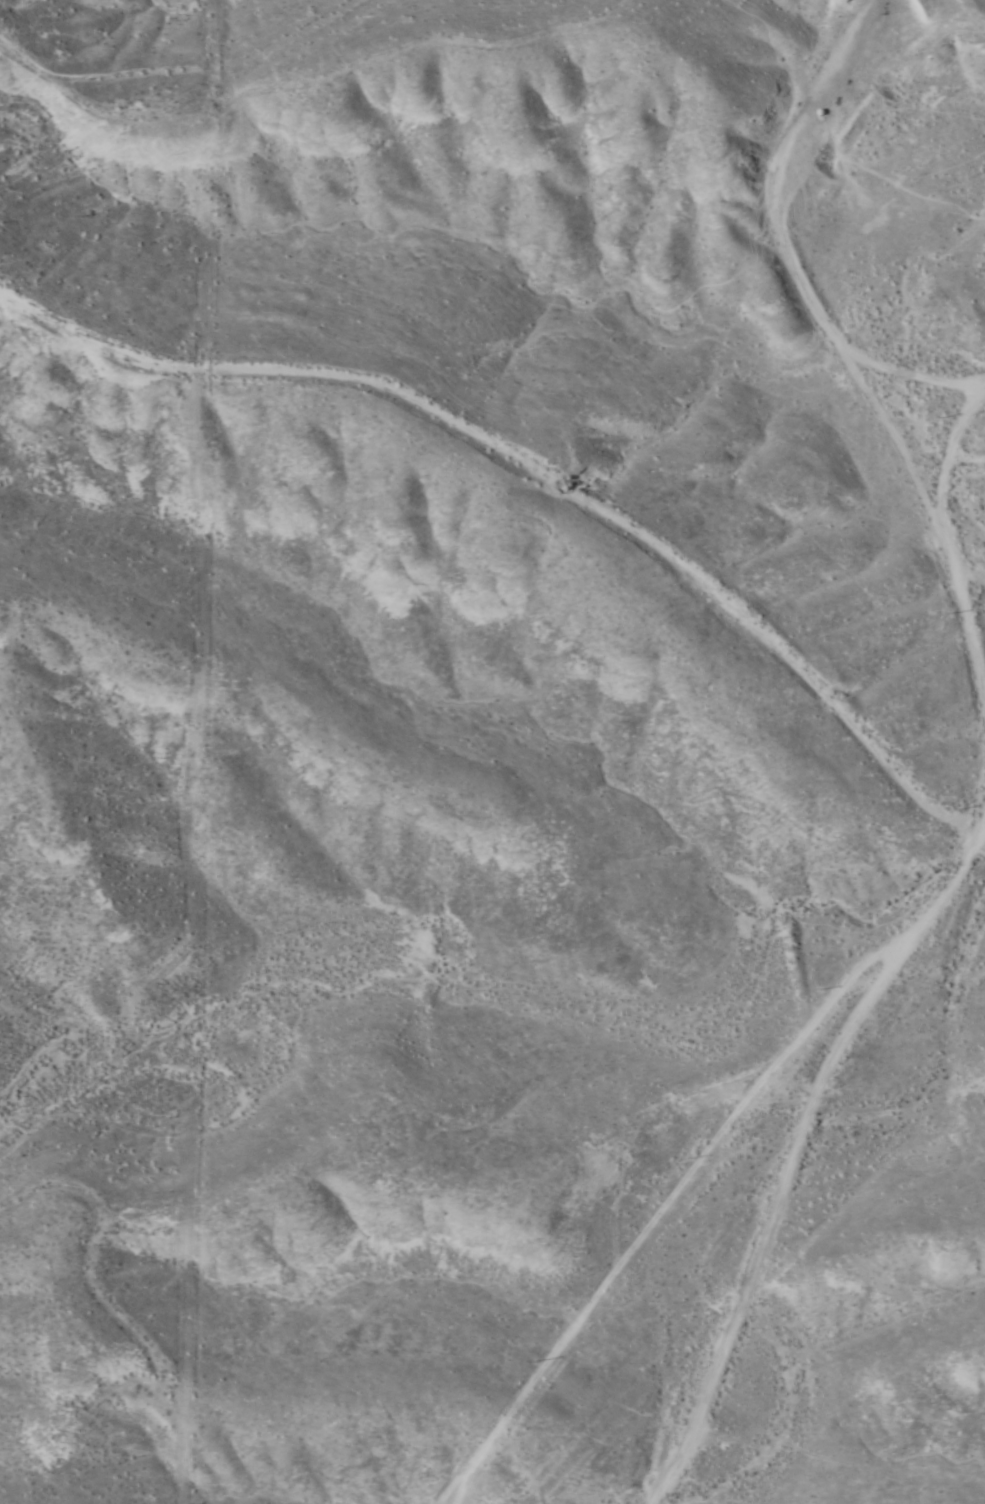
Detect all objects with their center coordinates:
road: (175, 58)
road: (811, 233)
road: (529, 431)
road: (948, 540)
road: (717, 1164)
road: (78, 1462)

